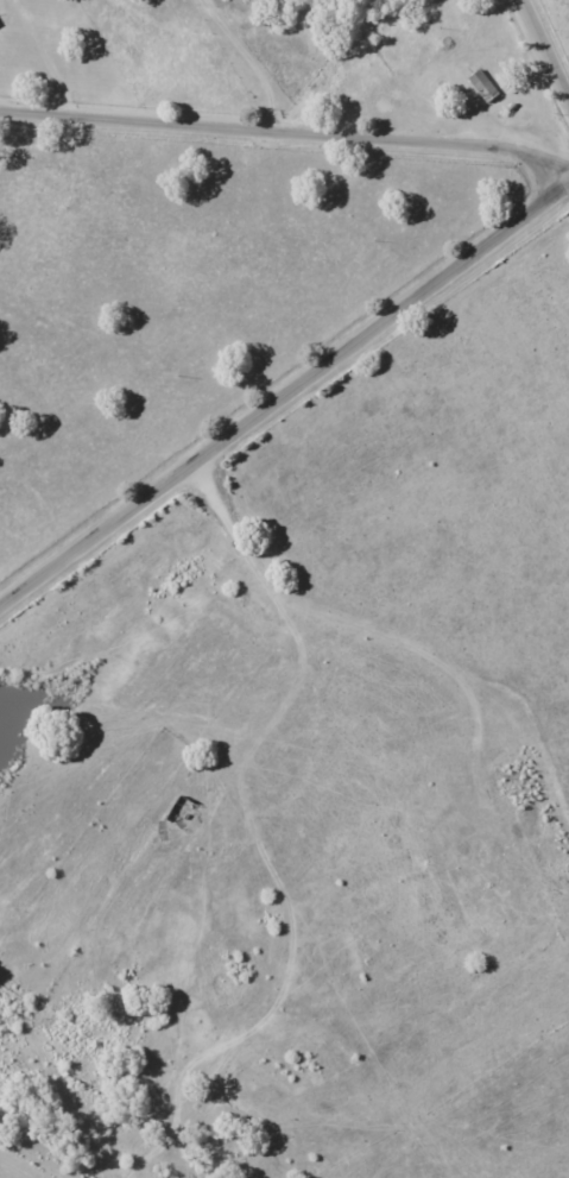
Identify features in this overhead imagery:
road: (546, 44)
road: (49, 58)
road: (251, 63)
building: (482, 84)
road: (291, 134)
road: (284, 398)

